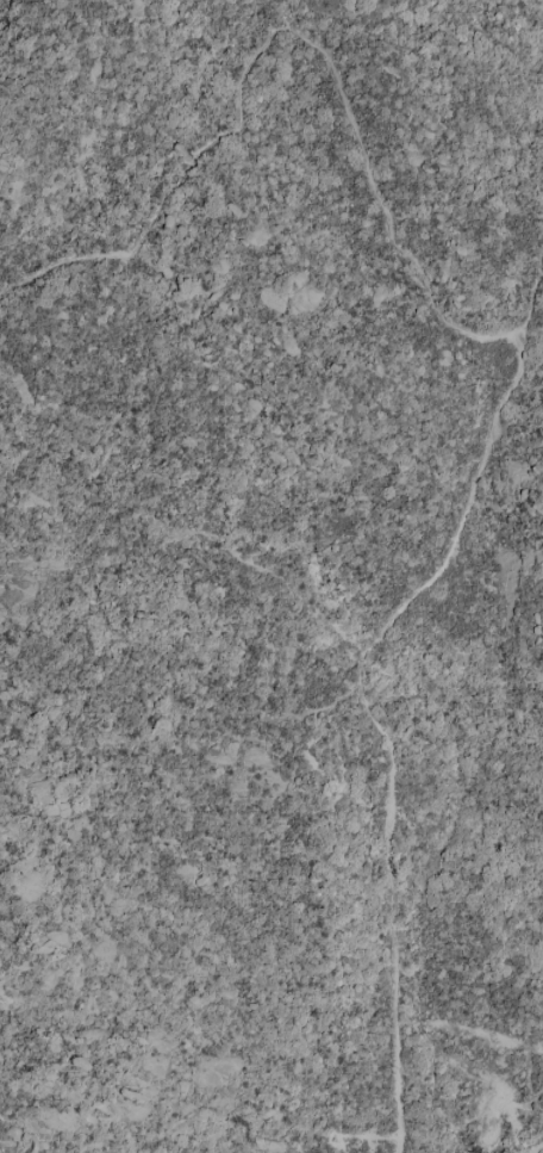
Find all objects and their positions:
road: (518, 357)

